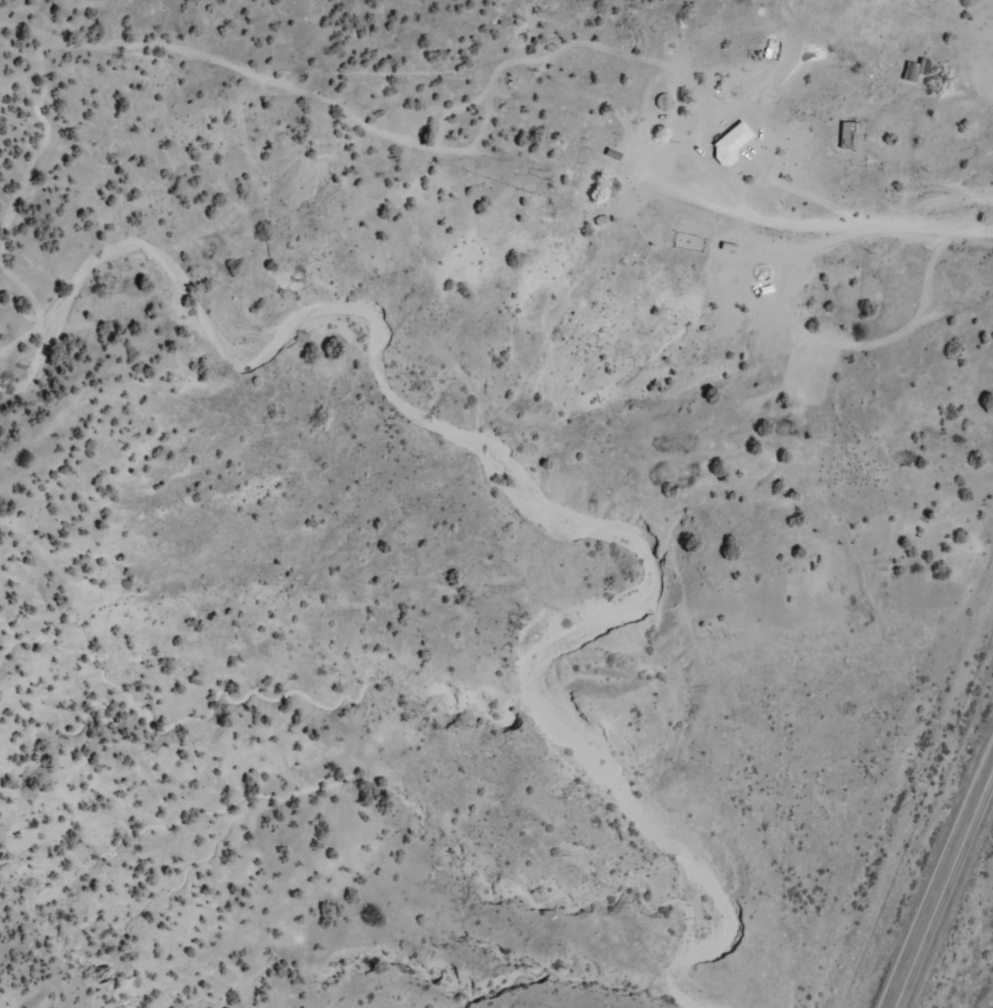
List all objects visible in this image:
building: (914, 70)
building: (643, 116)
building: (849, 134)
building: (730, 141)
building: (587, 188)
road: (943, 887)

